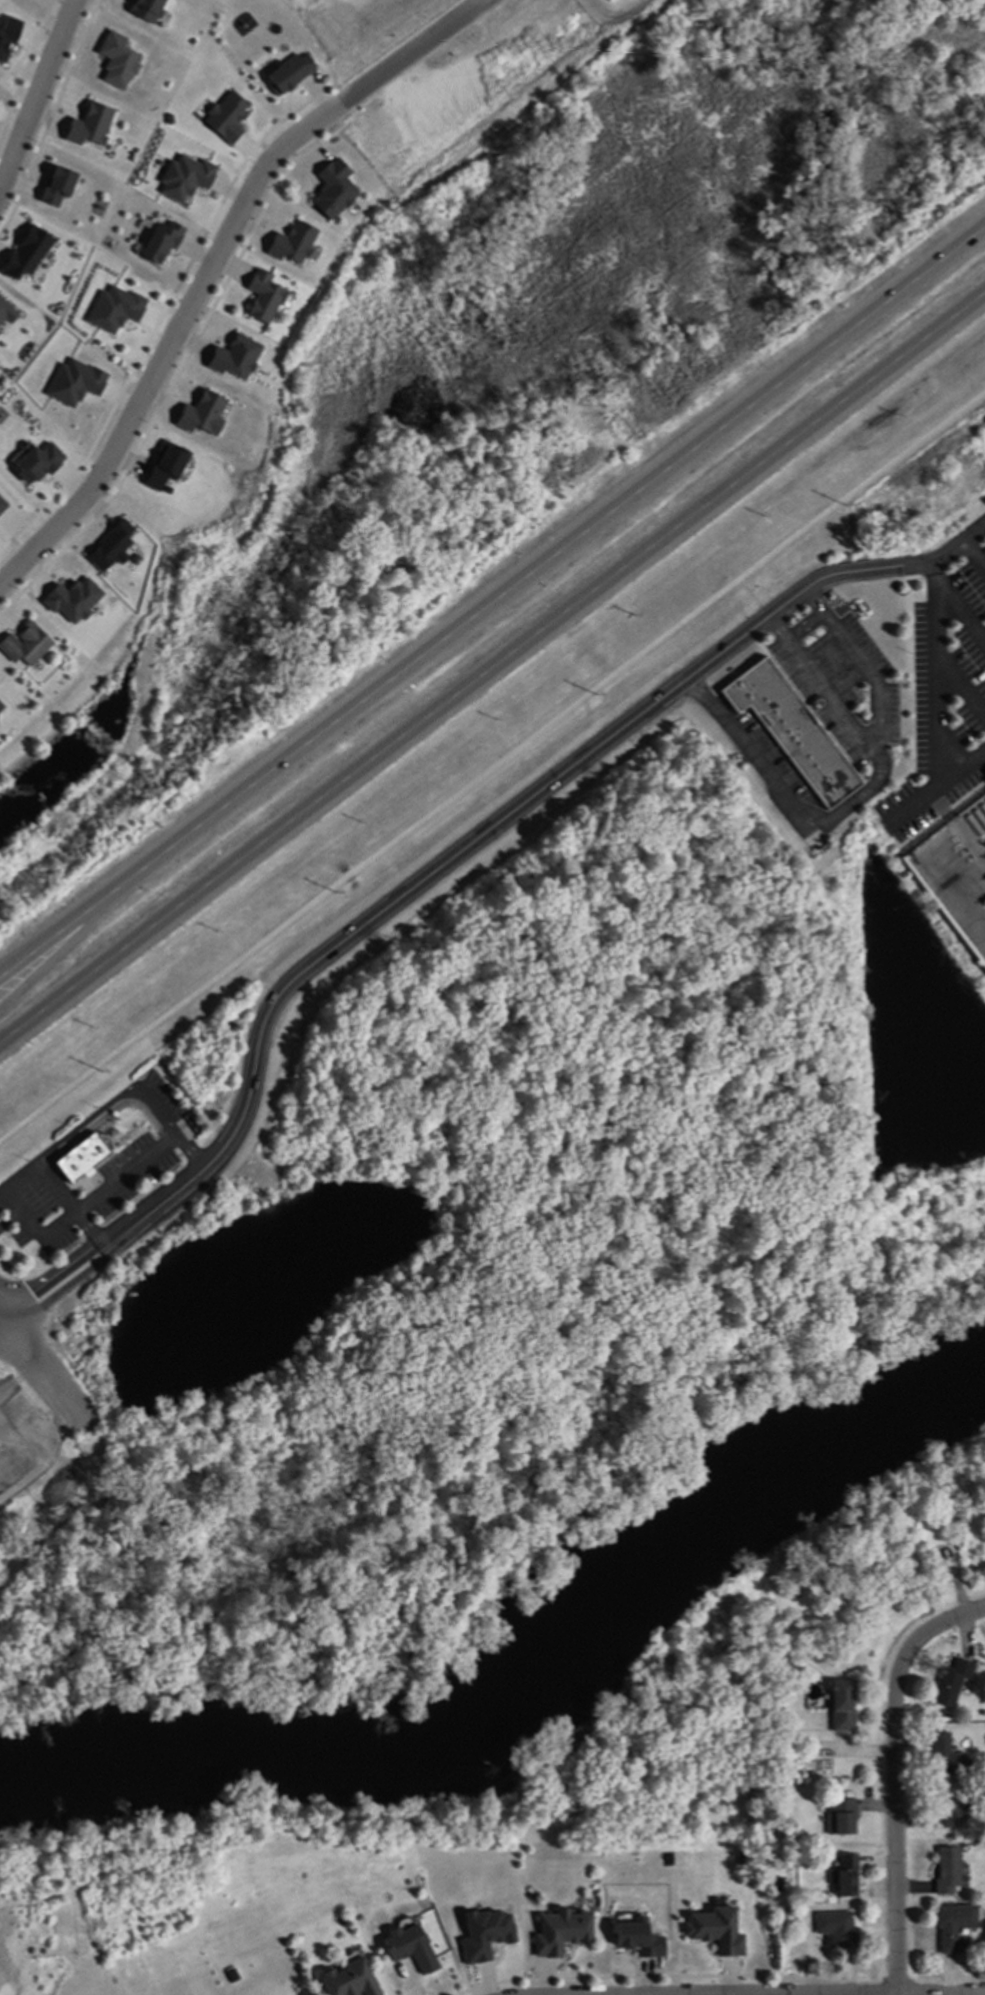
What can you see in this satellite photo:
road: (410, 47)
building: (287, 71)
road: (37, 94)
road: (173, 338)
road: (947, 553)
road: (975, 553)
road: (757, 589)
road: (492, 599)
road: (771, 607)
road: (960, 610)
road: (805, 625)
building: (23, 645)
road: (492, 666)
road: (937, 675)
parking lot: (942, 676)
parking lot: (839, 683)
road: (961, 684)
road: (823, 686)
building: (0, 704)
building: (787, 728)
road: (982, 759)
building: (984, 767)
road: (493, 769)
road: (934, 794)
road: (857, 797)
road: (476, 838)
road: (56, 952)
road: (16, 959)
road: (158, 1107)
road: (104, 1115)
road: (192, 1151)
building: (79, 1157)
parking lot: (137, 1165)
road: (55, 1186)
road: (22, 1213)
road: (10, 1220)
road: (89, 1228)
road: (73, 1264)
road: (82, 1276)
road: (0, 1319)
road: (0, 1321)
road: (0, 1322)
road: (39, 1371)
building: (970, 1487)
building: (950, 1683)
river: (535, 1691)
building: (840, 1706)
building: (940, 1754)
road: (895, 1777)
building: (947, 1809)
building: (839, 1817)
building: (946, 1872)
building: (844, 1877)
building: (951, 1926)
building: (833, 1928)
building: (346, 1979)

